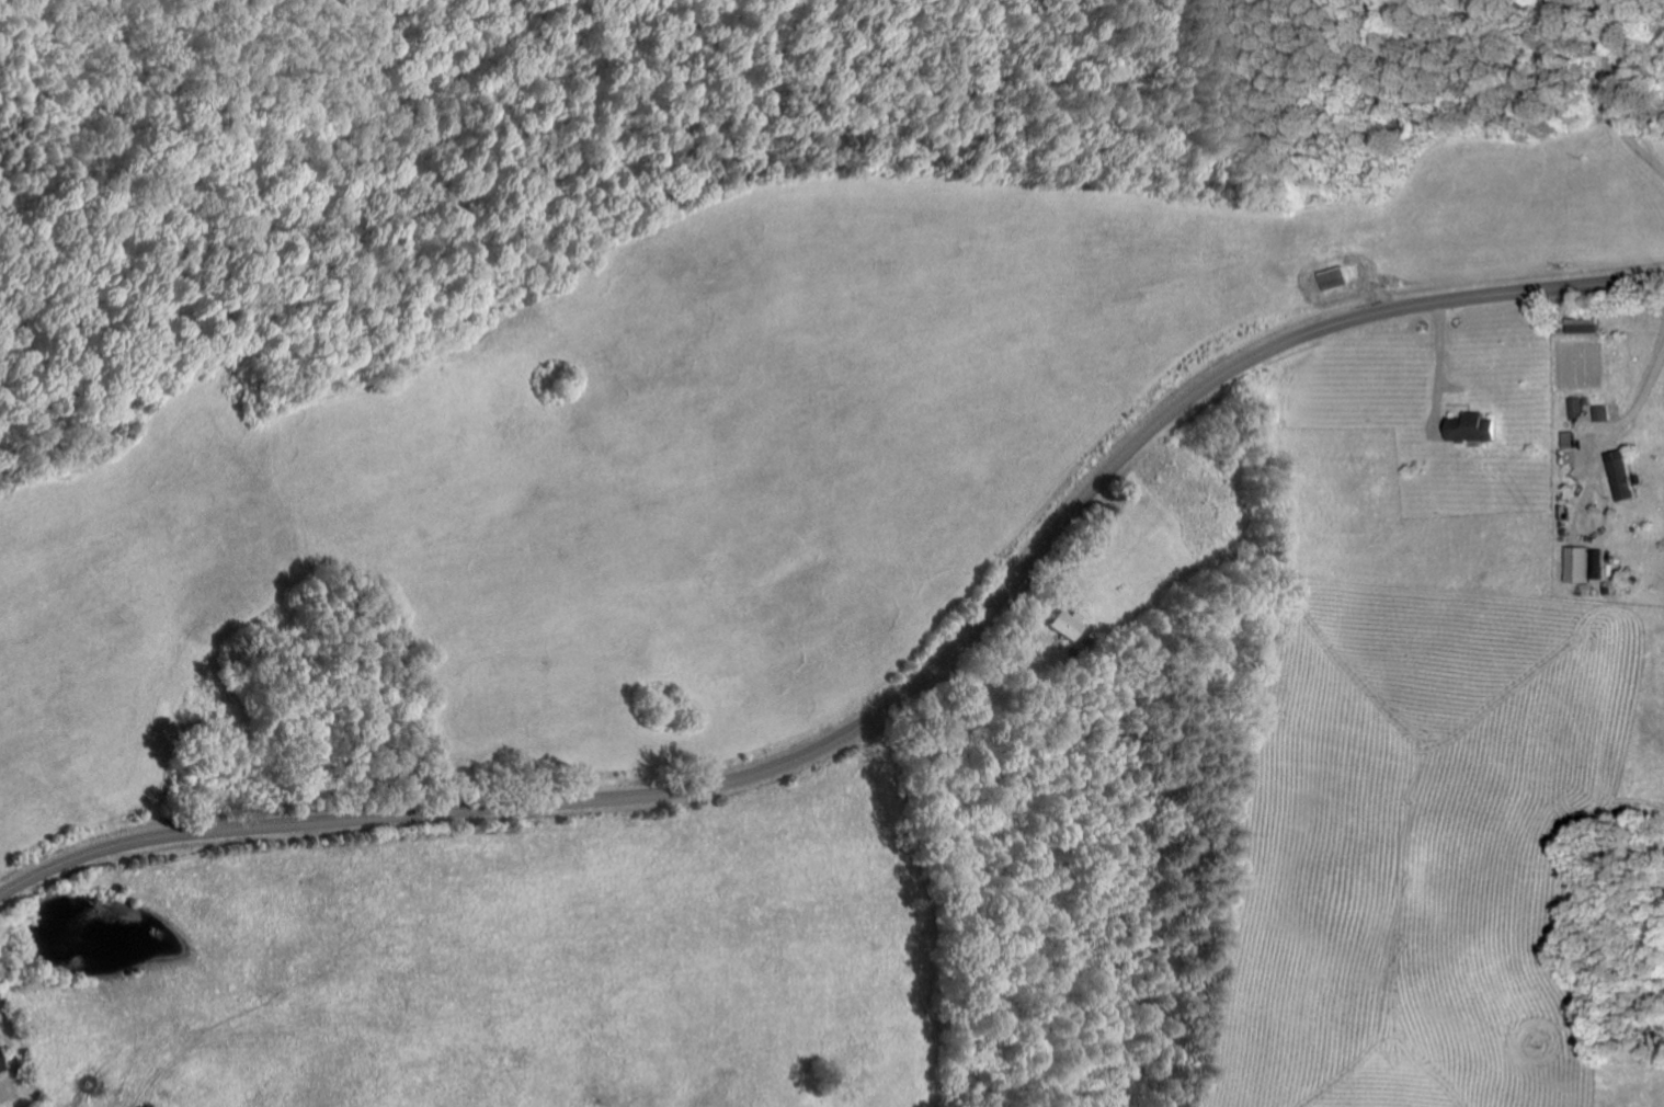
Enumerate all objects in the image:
building: (1478, 426)
building: (1628, 475)
building: (1580, 563)
road: (892, 704)
building: (2, 1062)

